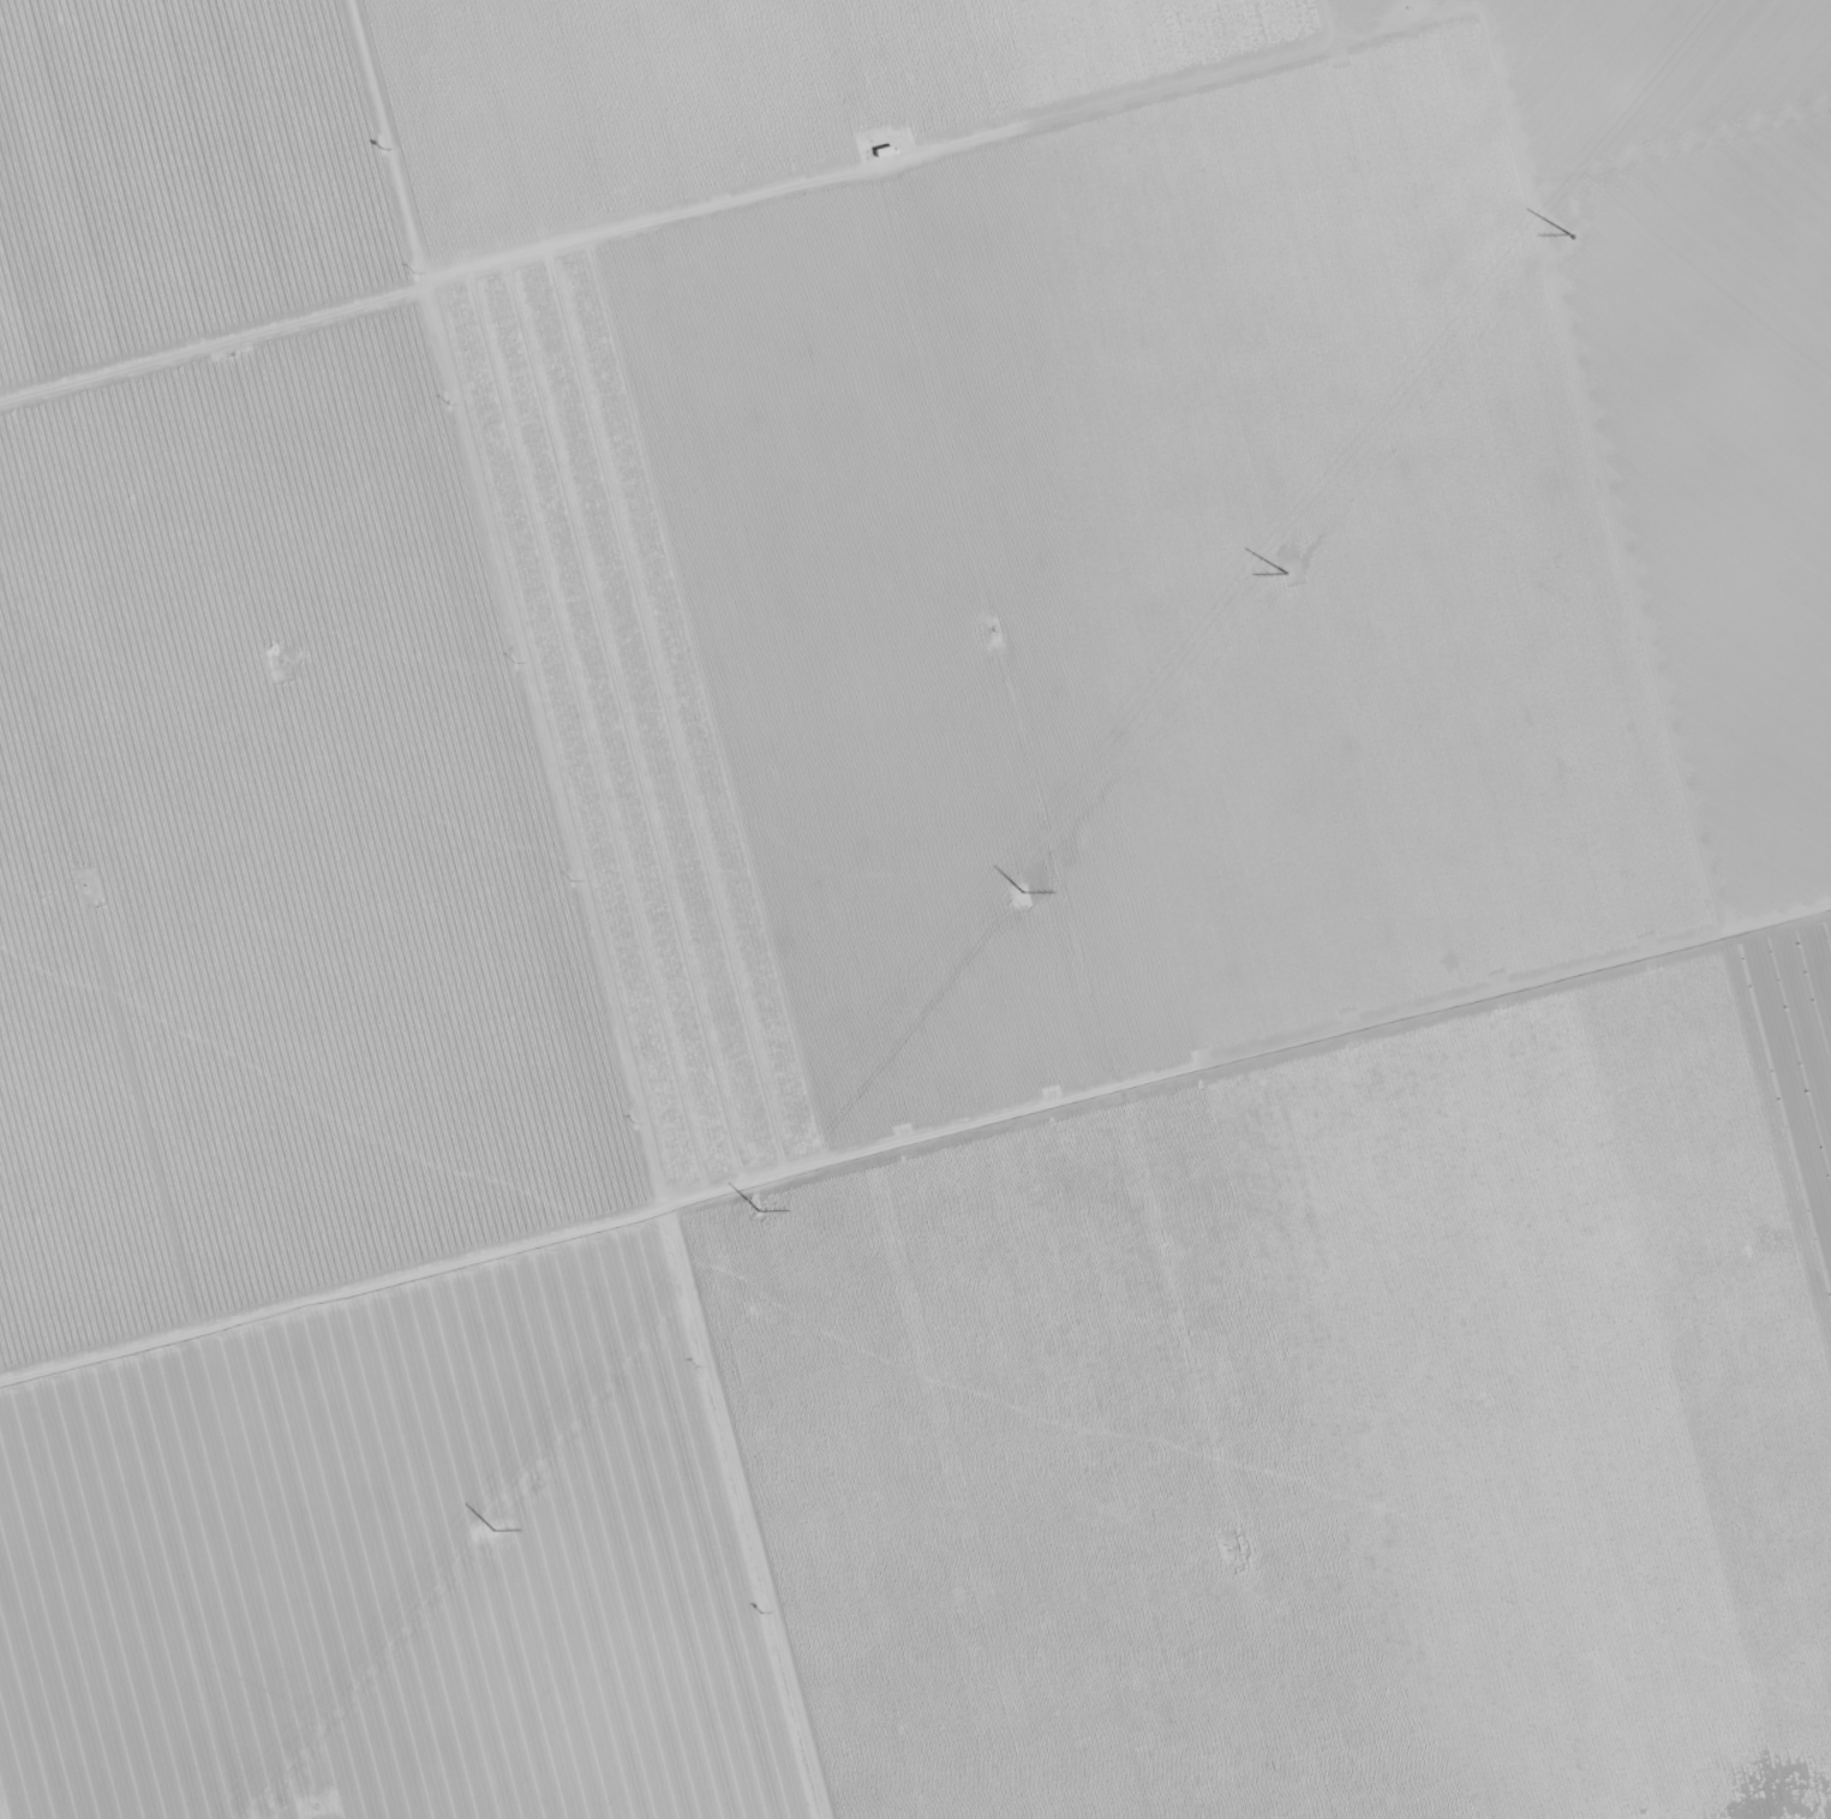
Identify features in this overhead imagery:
power tower: (1558, 243)
power tower: (1293, 564)
power tower: (1028, 887)
power tower: (765, 1202)
power tower: (499, 1522)

